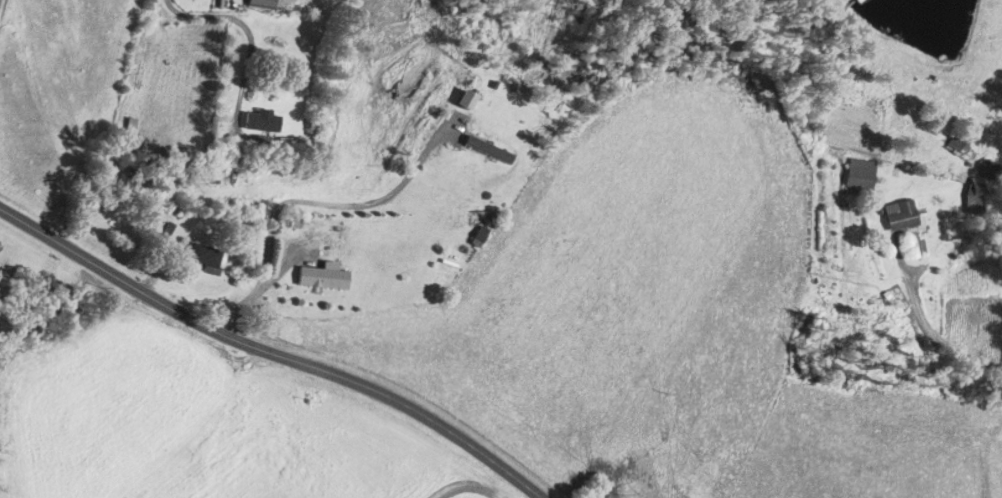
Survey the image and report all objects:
road: (235, 35)
building: (261, 122)
building: (315, 128)
building: (261, 145)
building: (859, 175)
road: (305, 200)
building: (899, 217)
building: (482, 231)
building: (205, 259)
building: (323, 277)
road: (941, 340)
road: (272, 351)

